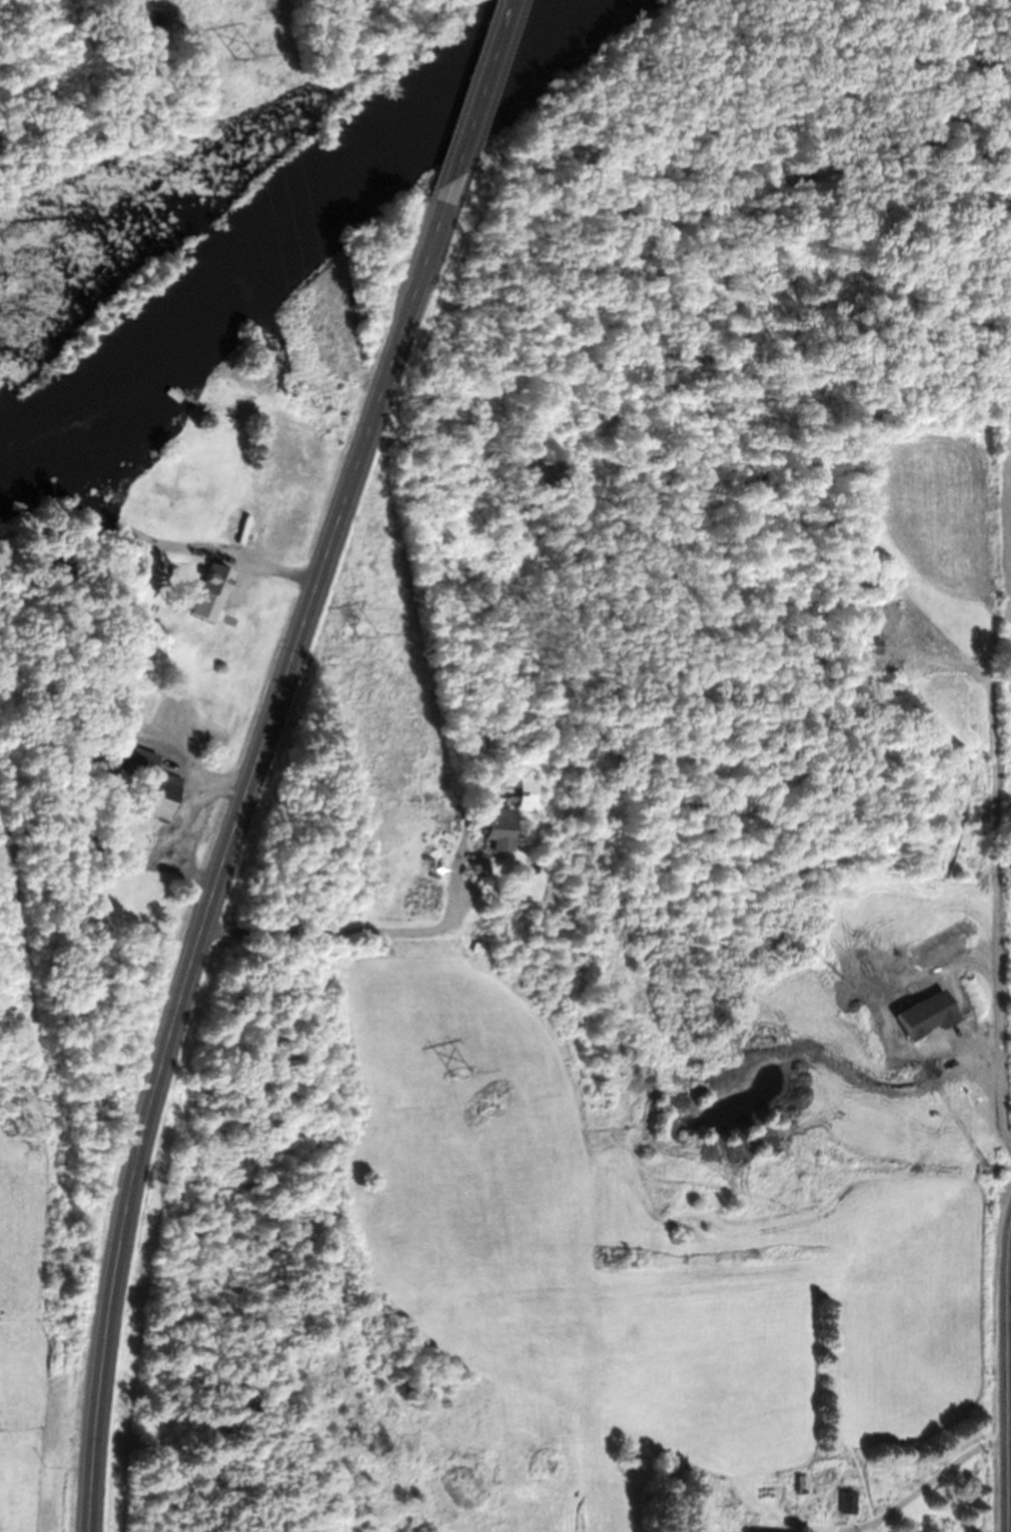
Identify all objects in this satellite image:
power tower: (243, 56)
road: (481, 90)
river: (293, 239)
building: (237, 443)
building: (245, 522)
power tower: (368, 633)
building: (200, 641)
building: (168, 722)
building: (142, 760)
building: (166, 795)
building: (509, 816)
road: (230, 847)
power tower: (460, 1073)
building: (802, 1484)
building: (848, 1502)

